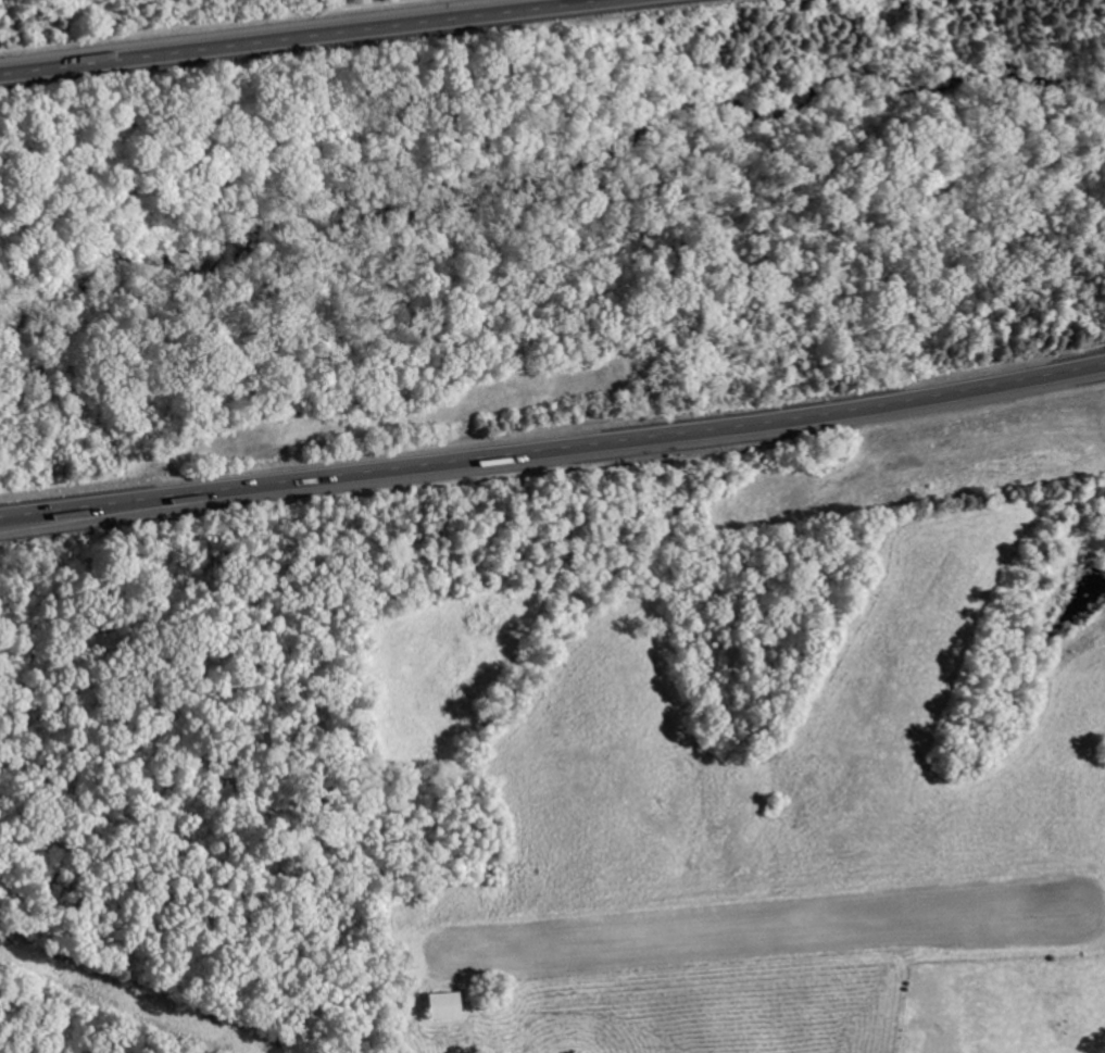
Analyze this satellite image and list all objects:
road: (276, 35)
road: (553, 452)
building: (439, 1004)

